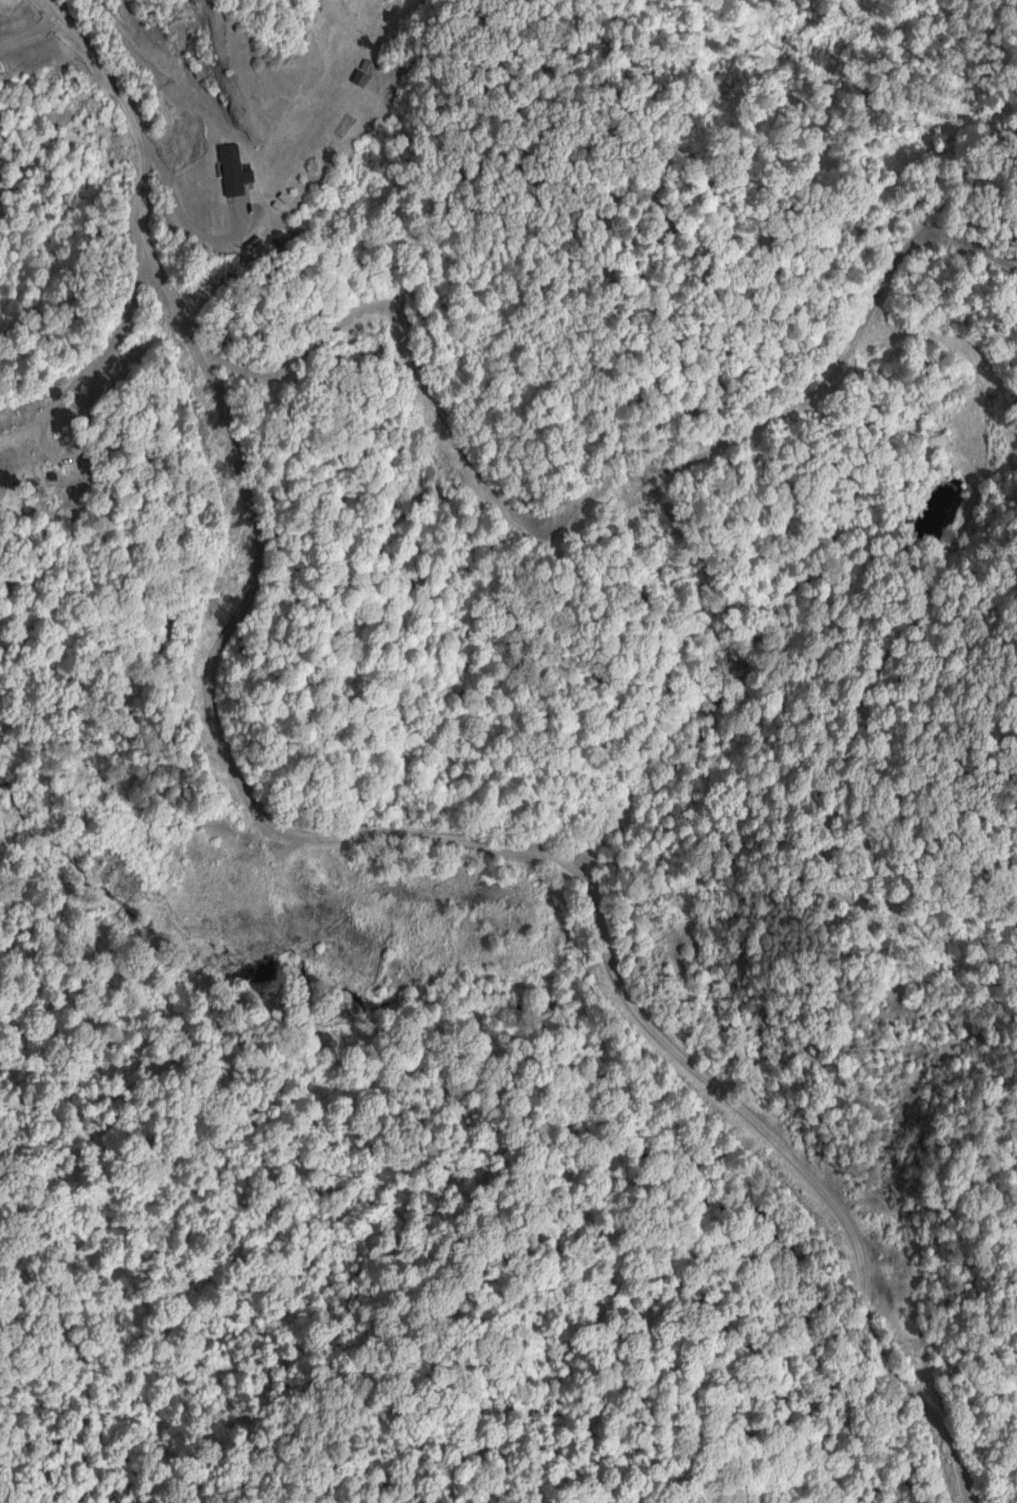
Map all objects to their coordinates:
road: (32, 38)
building: (223, 171)
building: (58, 483)
road: (364, 836)

